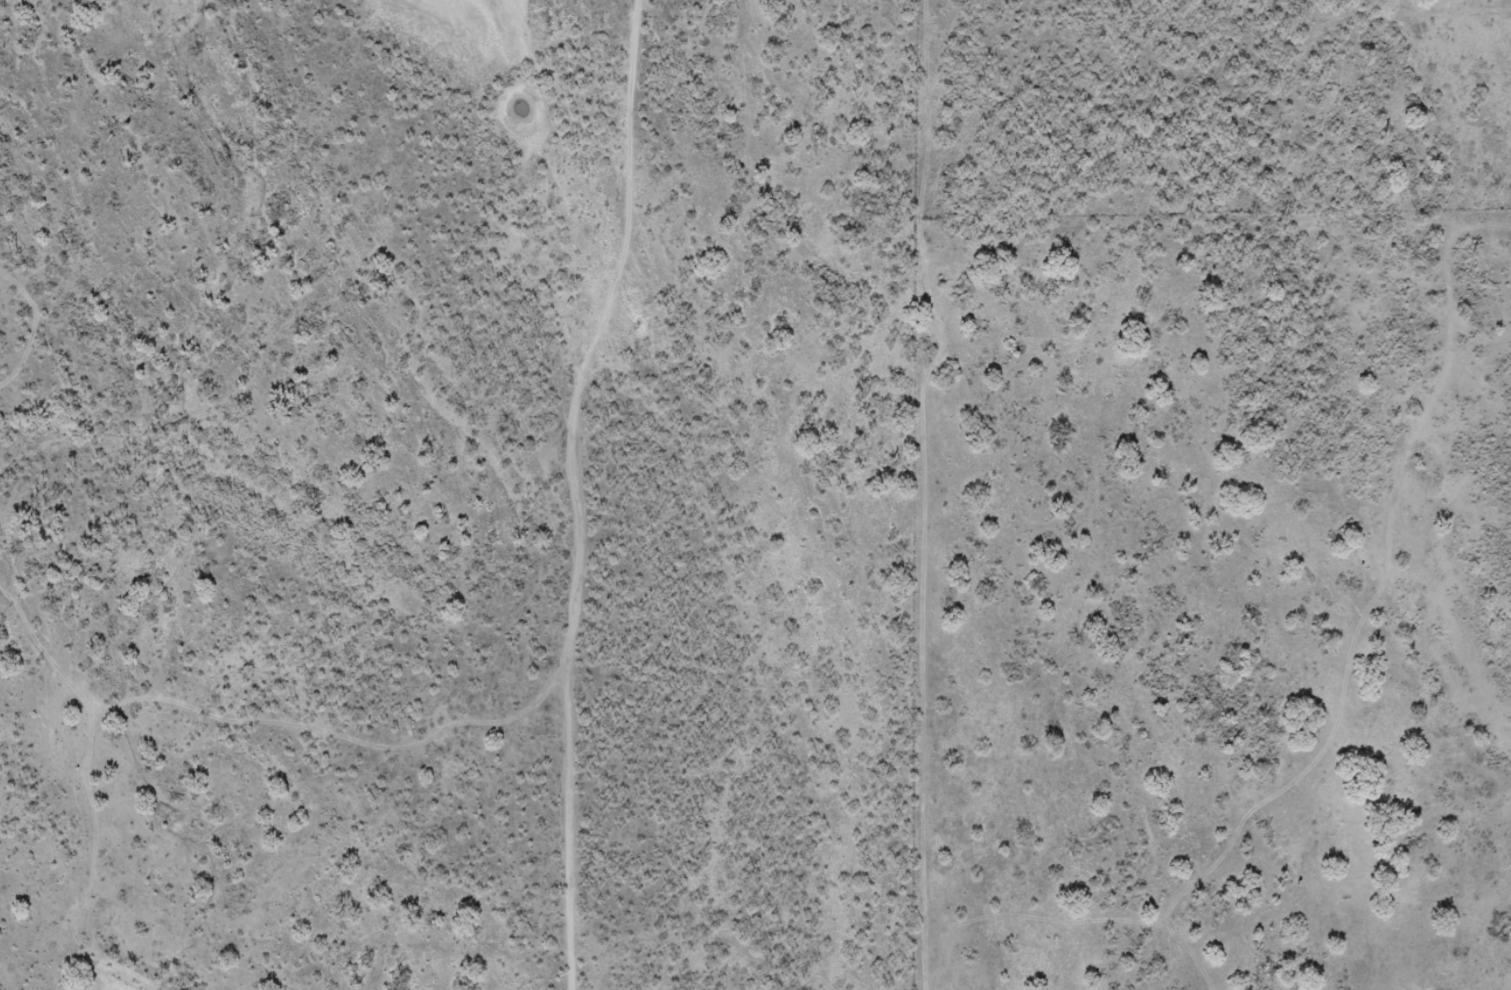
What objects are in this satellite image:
road: (615, 494)

